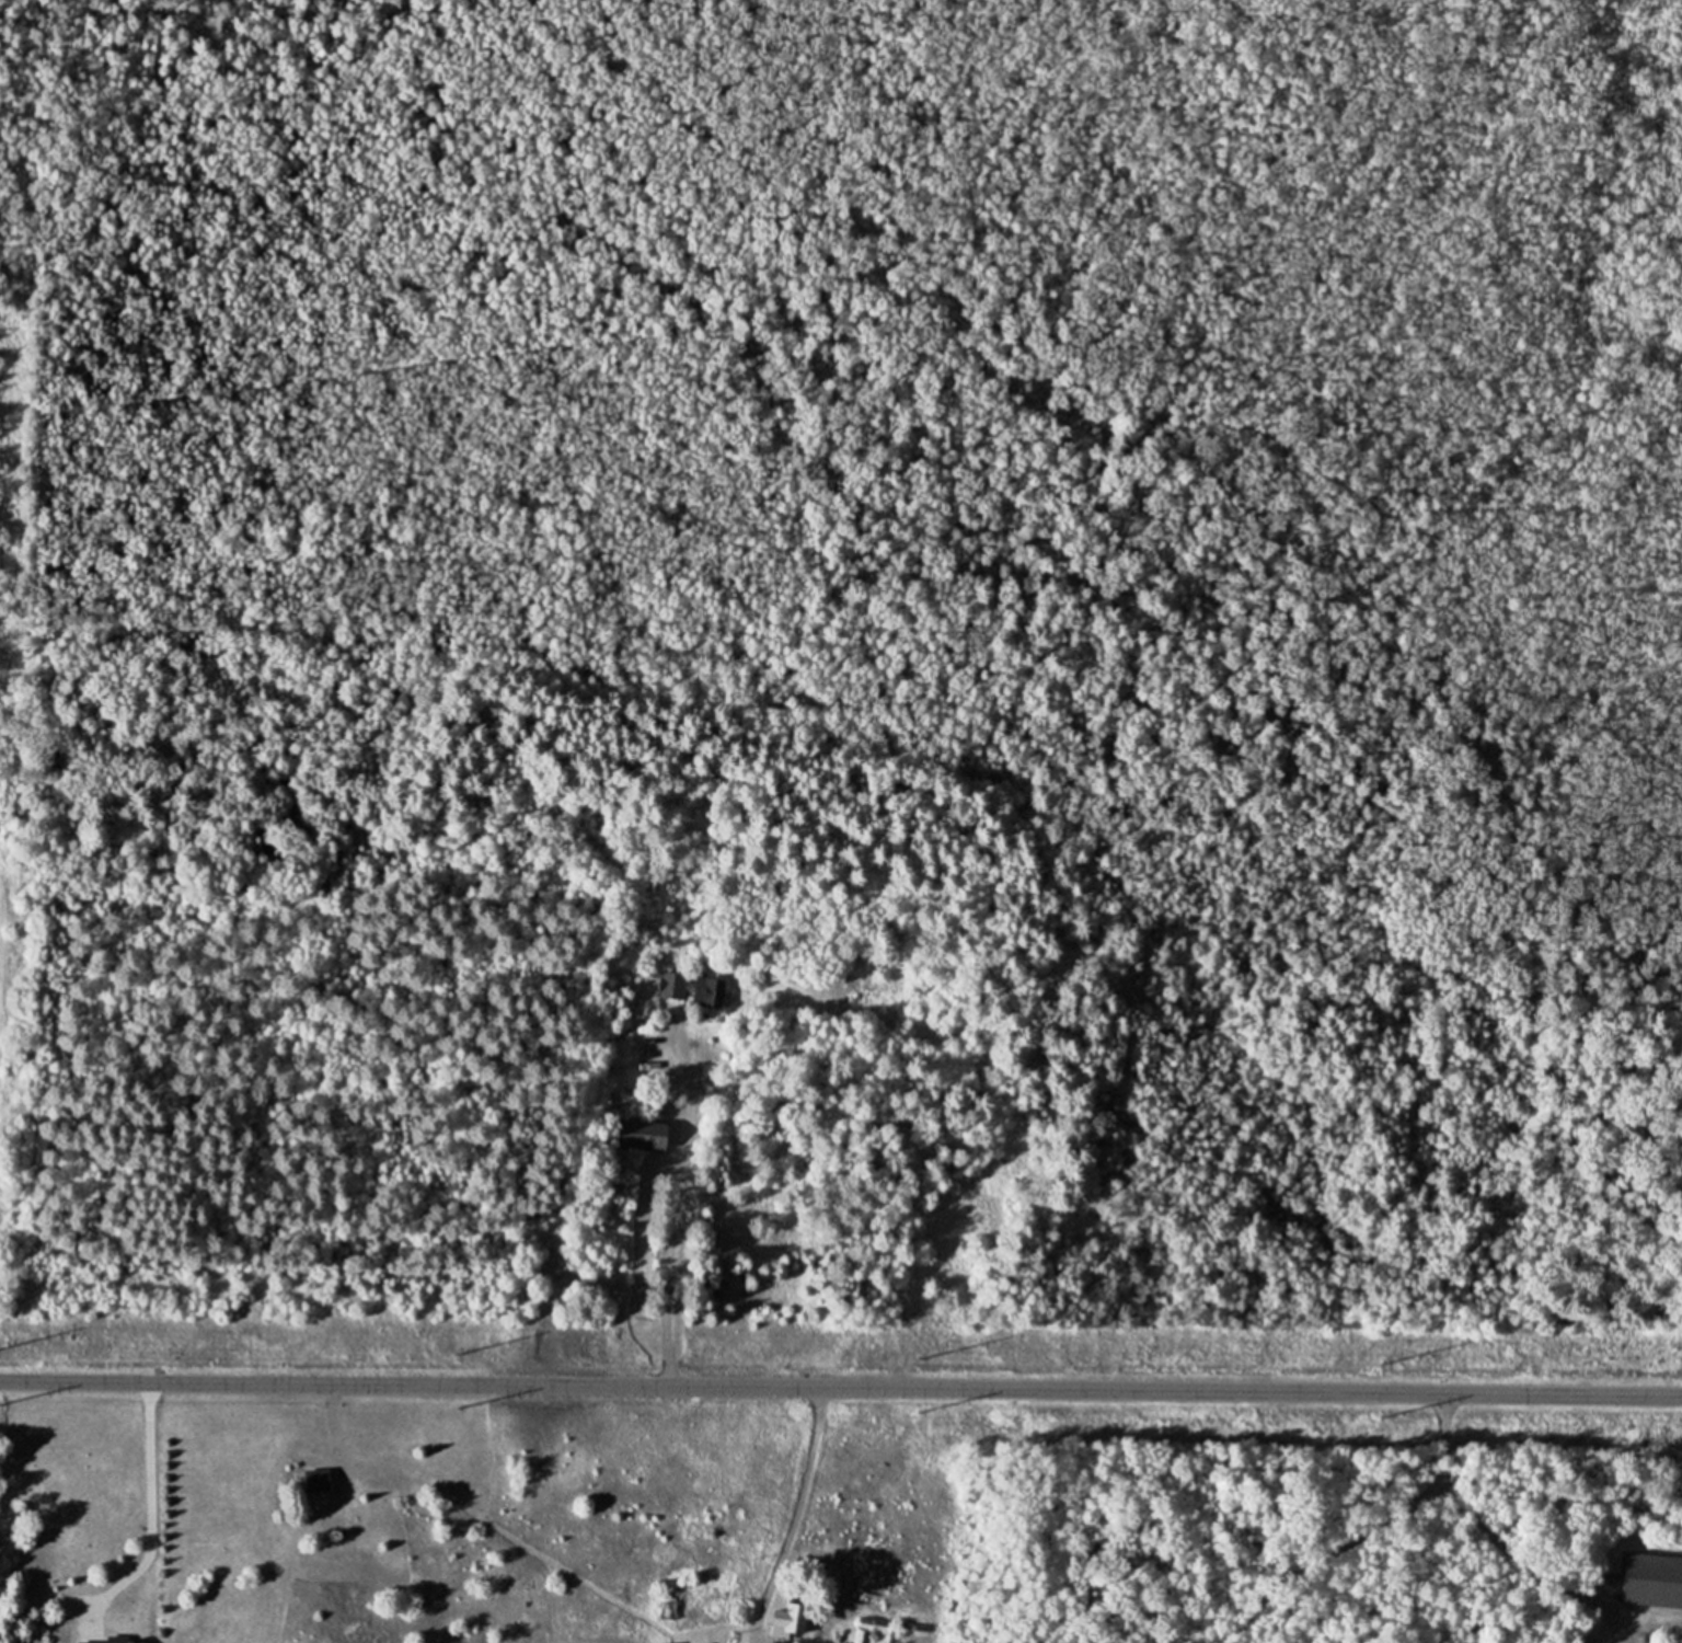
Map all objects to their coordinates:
building: (702, 991)
building: (638, 1134)
road: (671, 1237)
power tower: (456, 1352)
power tower: (923, 1354)
power tower: (1379, 1361)
road: (841, 1385)
power tower: (460, 1409)
power tower: (917, 1411)
power tower: (1376, 1414)
building: (320, 1479)
road: (150, 1506)
road: (794, 1508)
road: (1506, 1558)
building: (1651, 1579)
building: (783, 1620)
building: (110, 1640)

